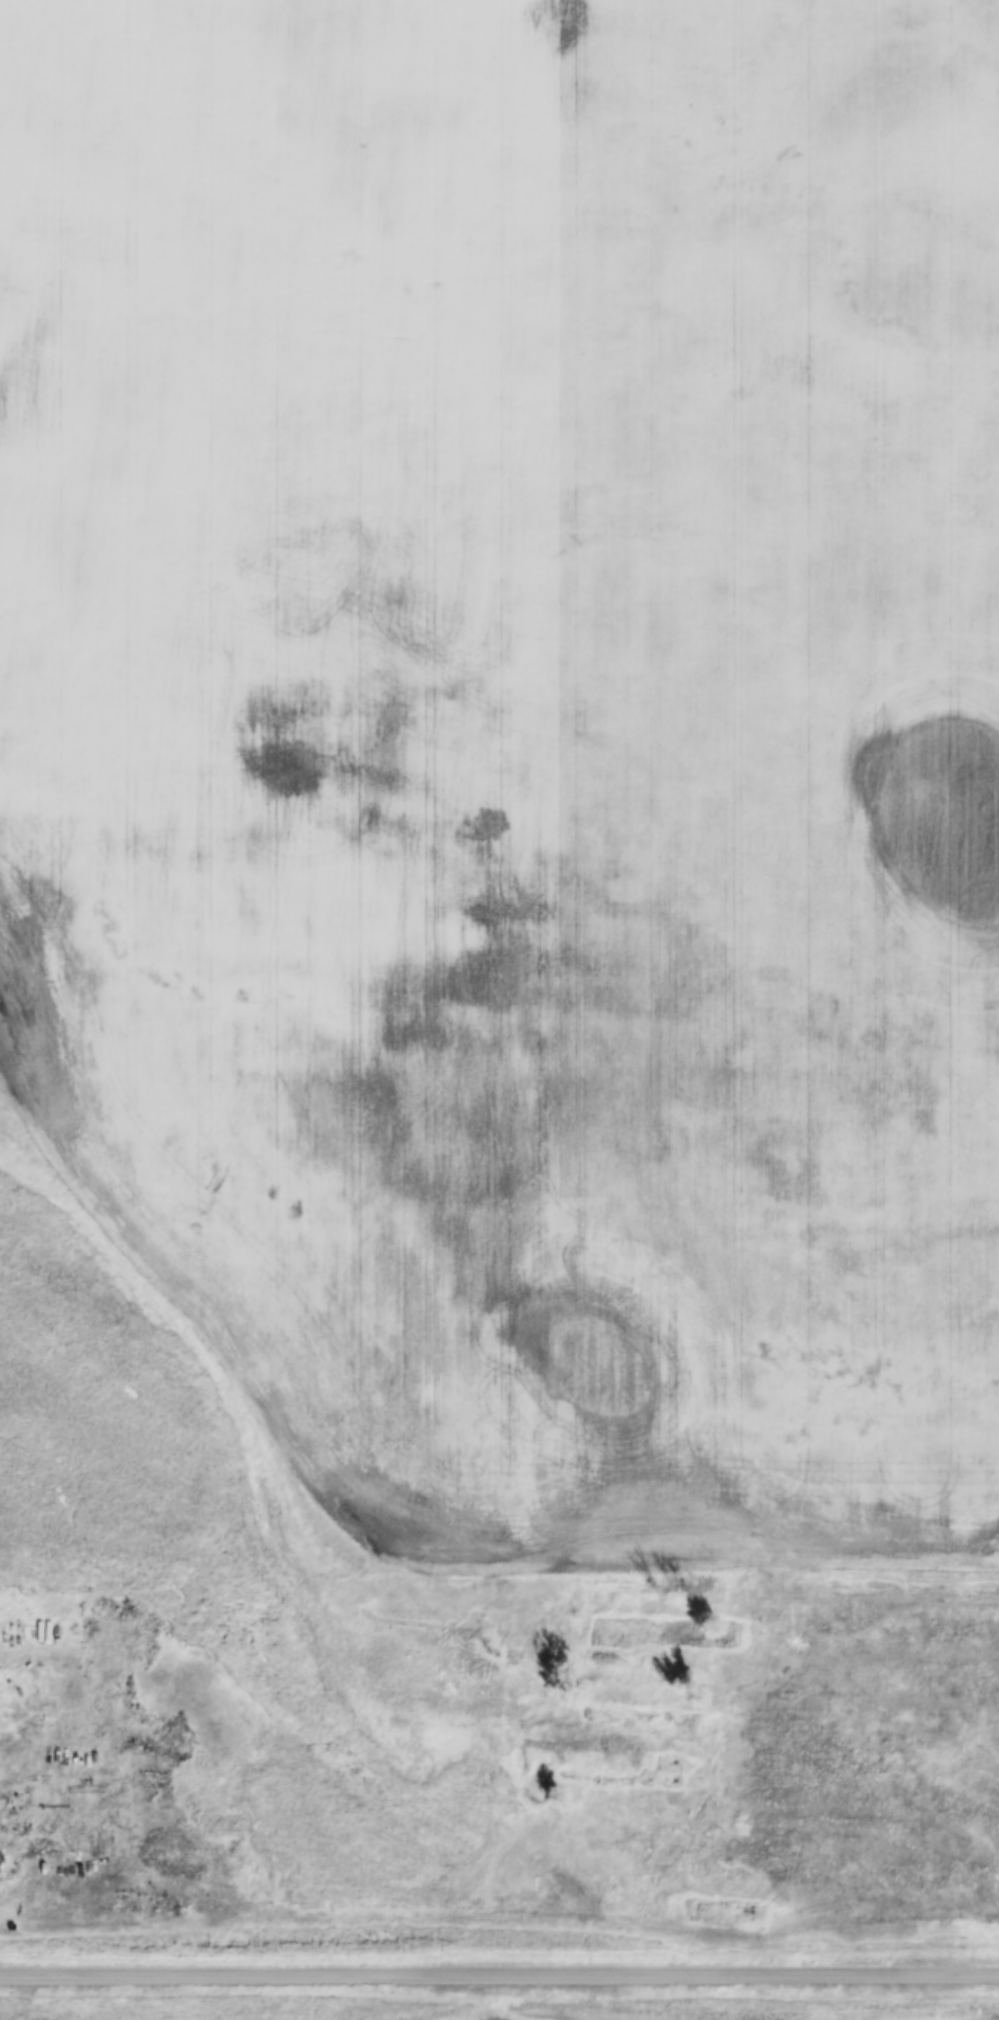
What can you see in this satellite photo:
road: (499, 1971)

